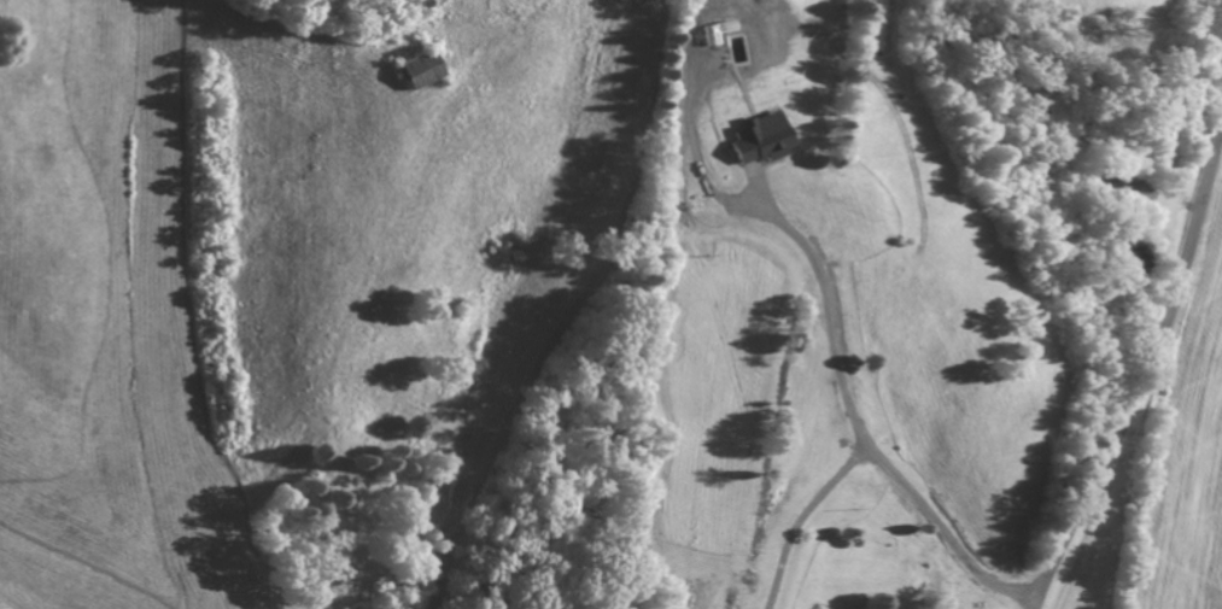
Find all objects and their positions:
building: (764, 140)
road: (1147, 368)

